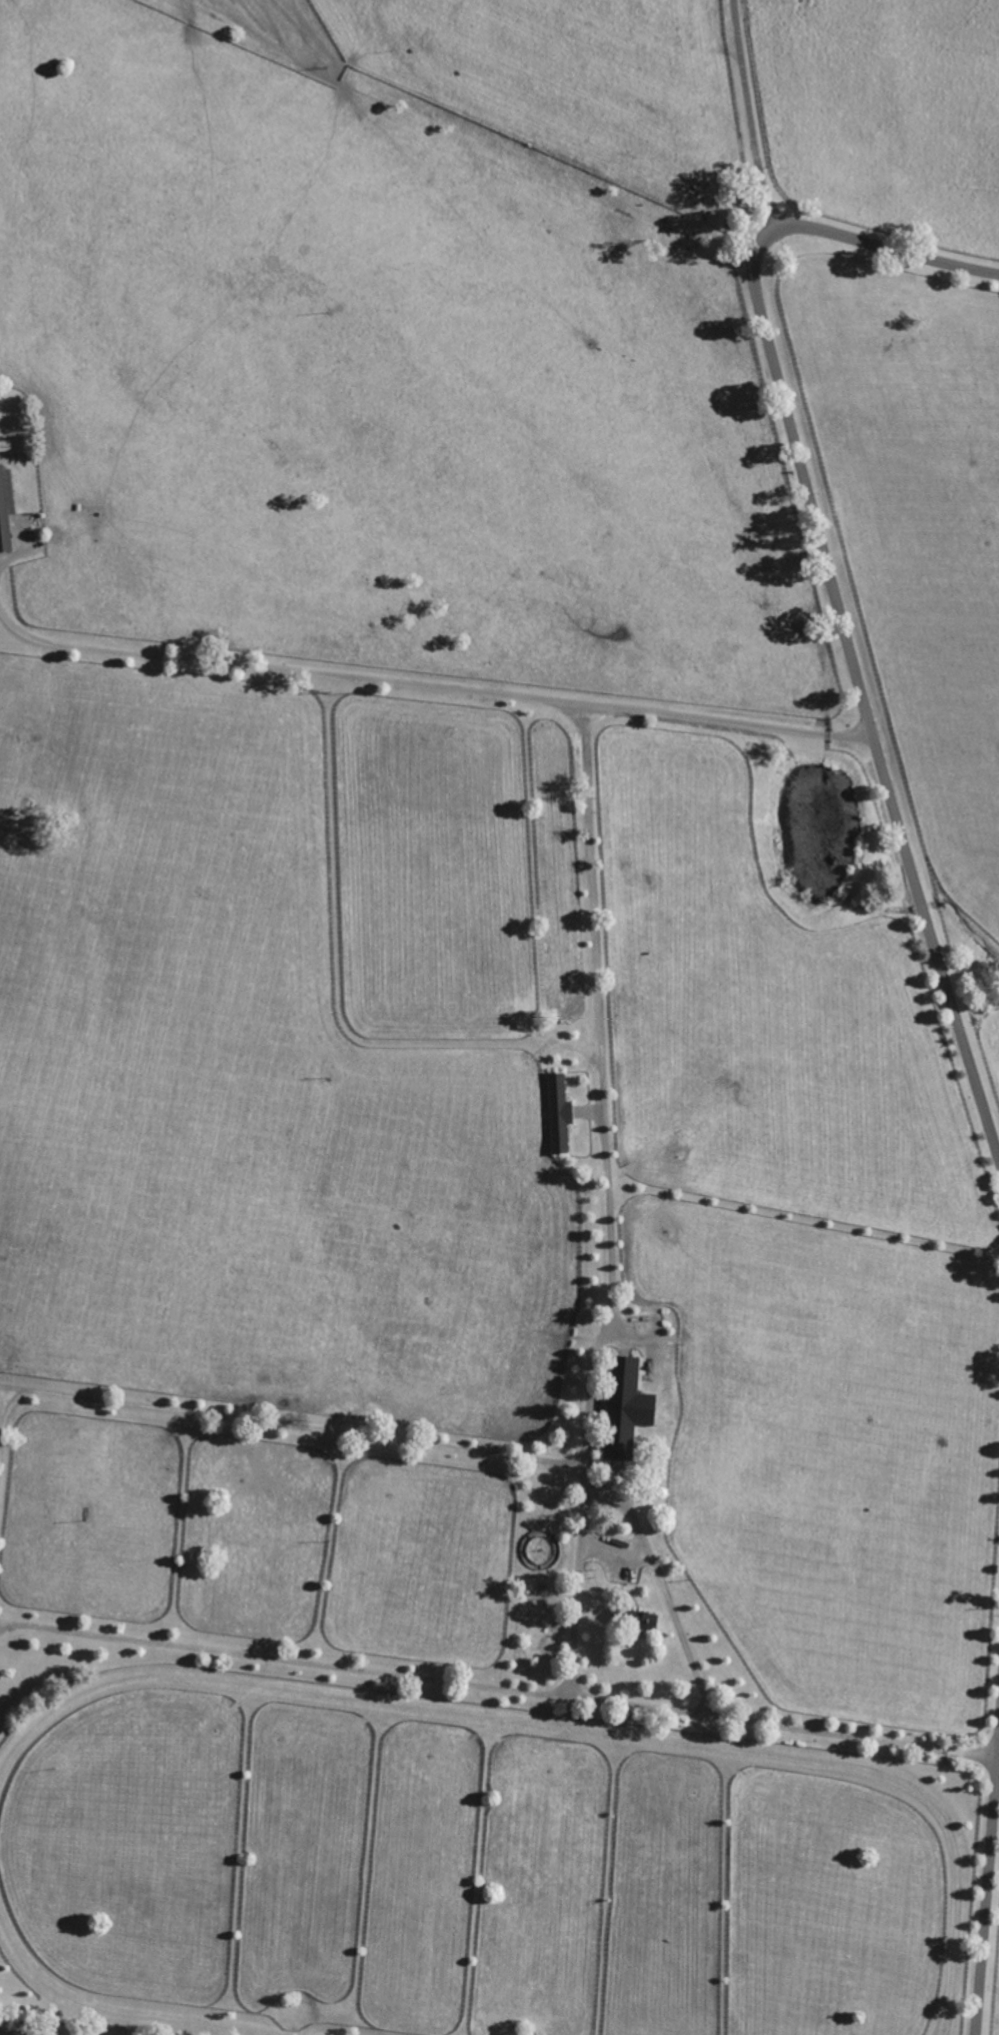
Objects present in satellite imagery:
road: (751, 116)
building: (3, 514)
road: (833, 584)
road: (430, 685)
road: (591, 862)
building: (557, 1112)
road: (611, 1249)
building: (624, 1405)
road: (4, 1424)
road: (401, 1445)
road: (613, 1553)
road: (662, 1588)
road: (499, 1689)
road: (986, 1896)
road: (21, 2032)

